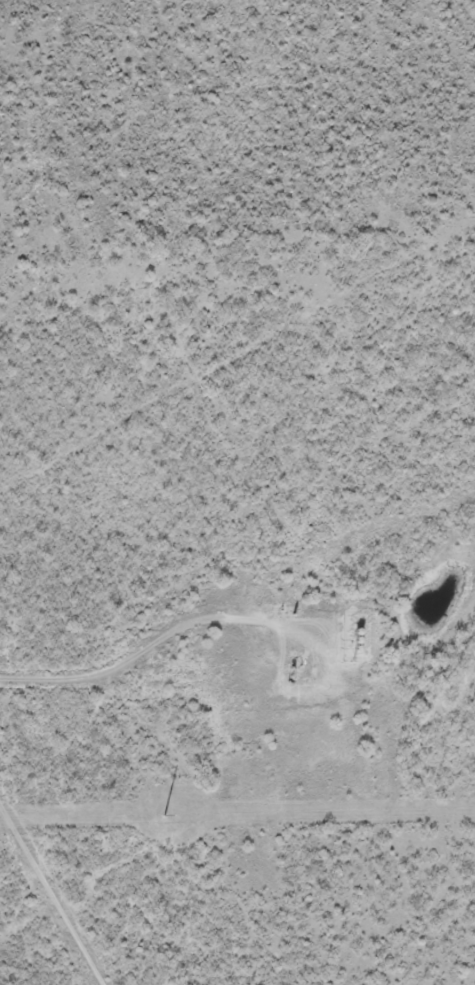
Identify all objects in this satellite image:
petroleum well: (297, 675)
power tower: (167, 814)

